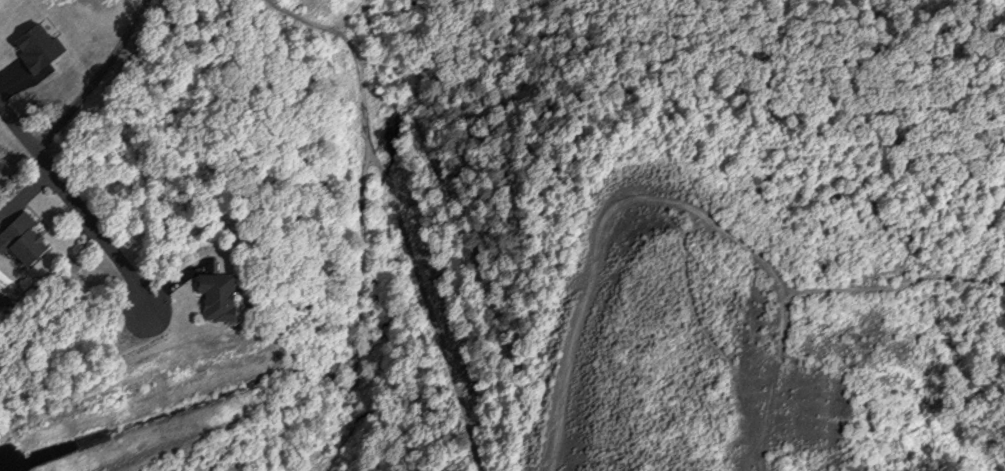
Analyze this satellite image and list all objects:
road: (669, 198)
road: (400, 204)
road: (79, 207)
building: (14, 238)
building: (206, 293)

